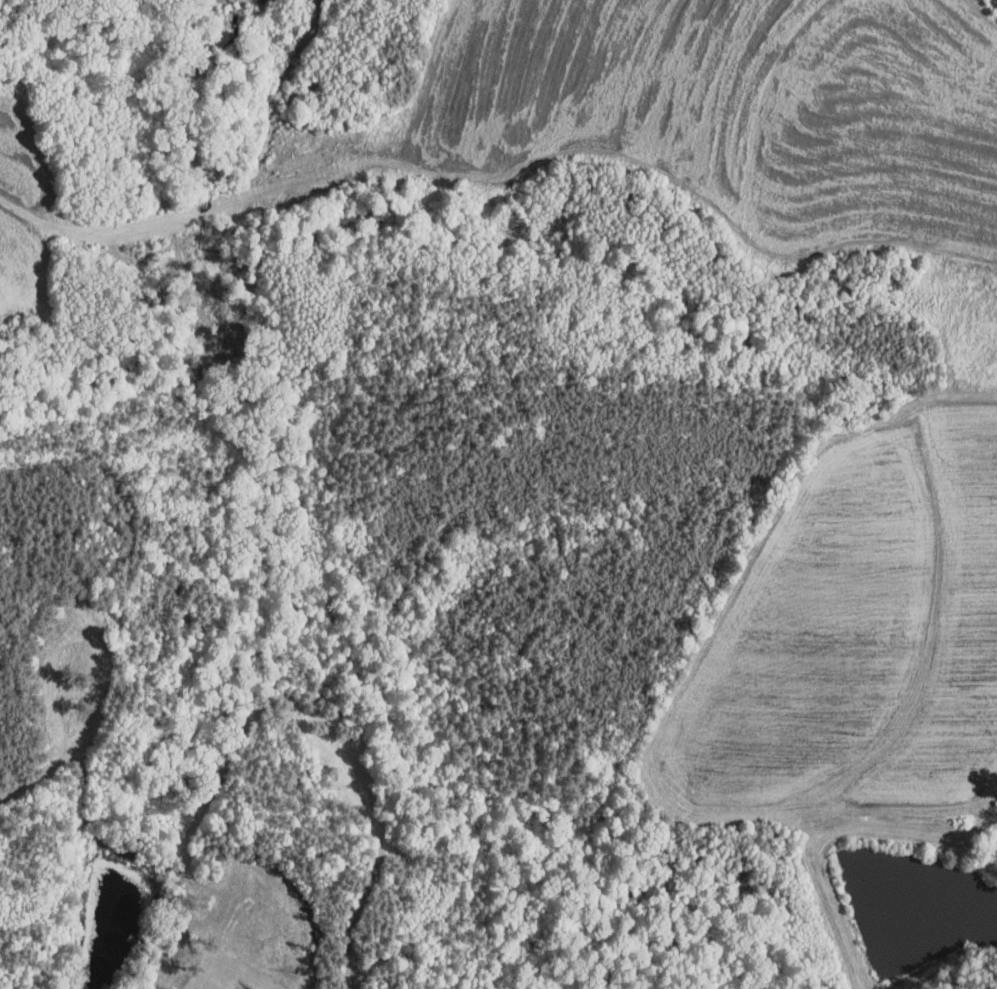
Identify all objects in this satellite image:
building: (244, 986)

